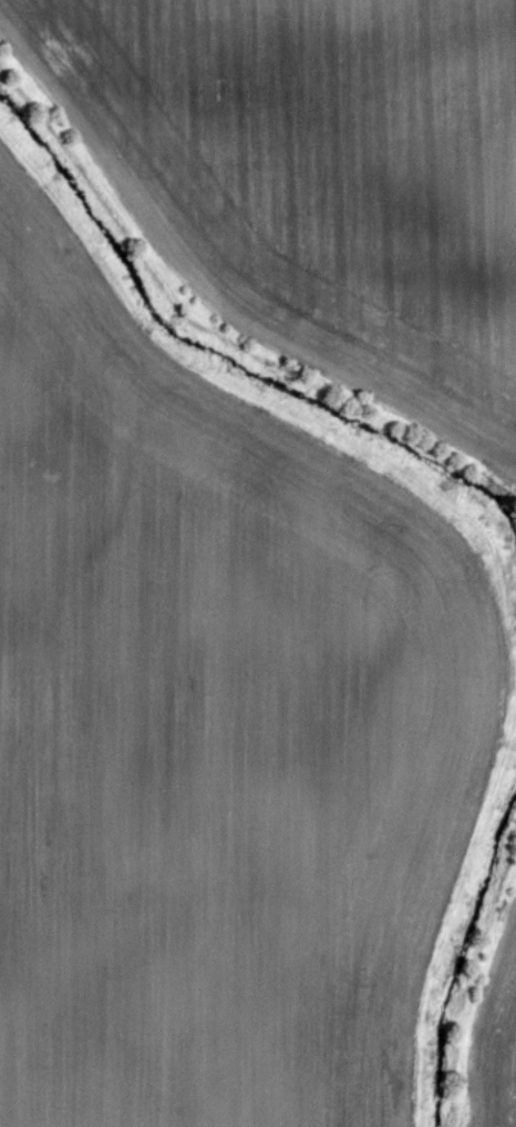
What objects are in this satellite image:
crop: (317, 180)
crop: (495, 1038)

